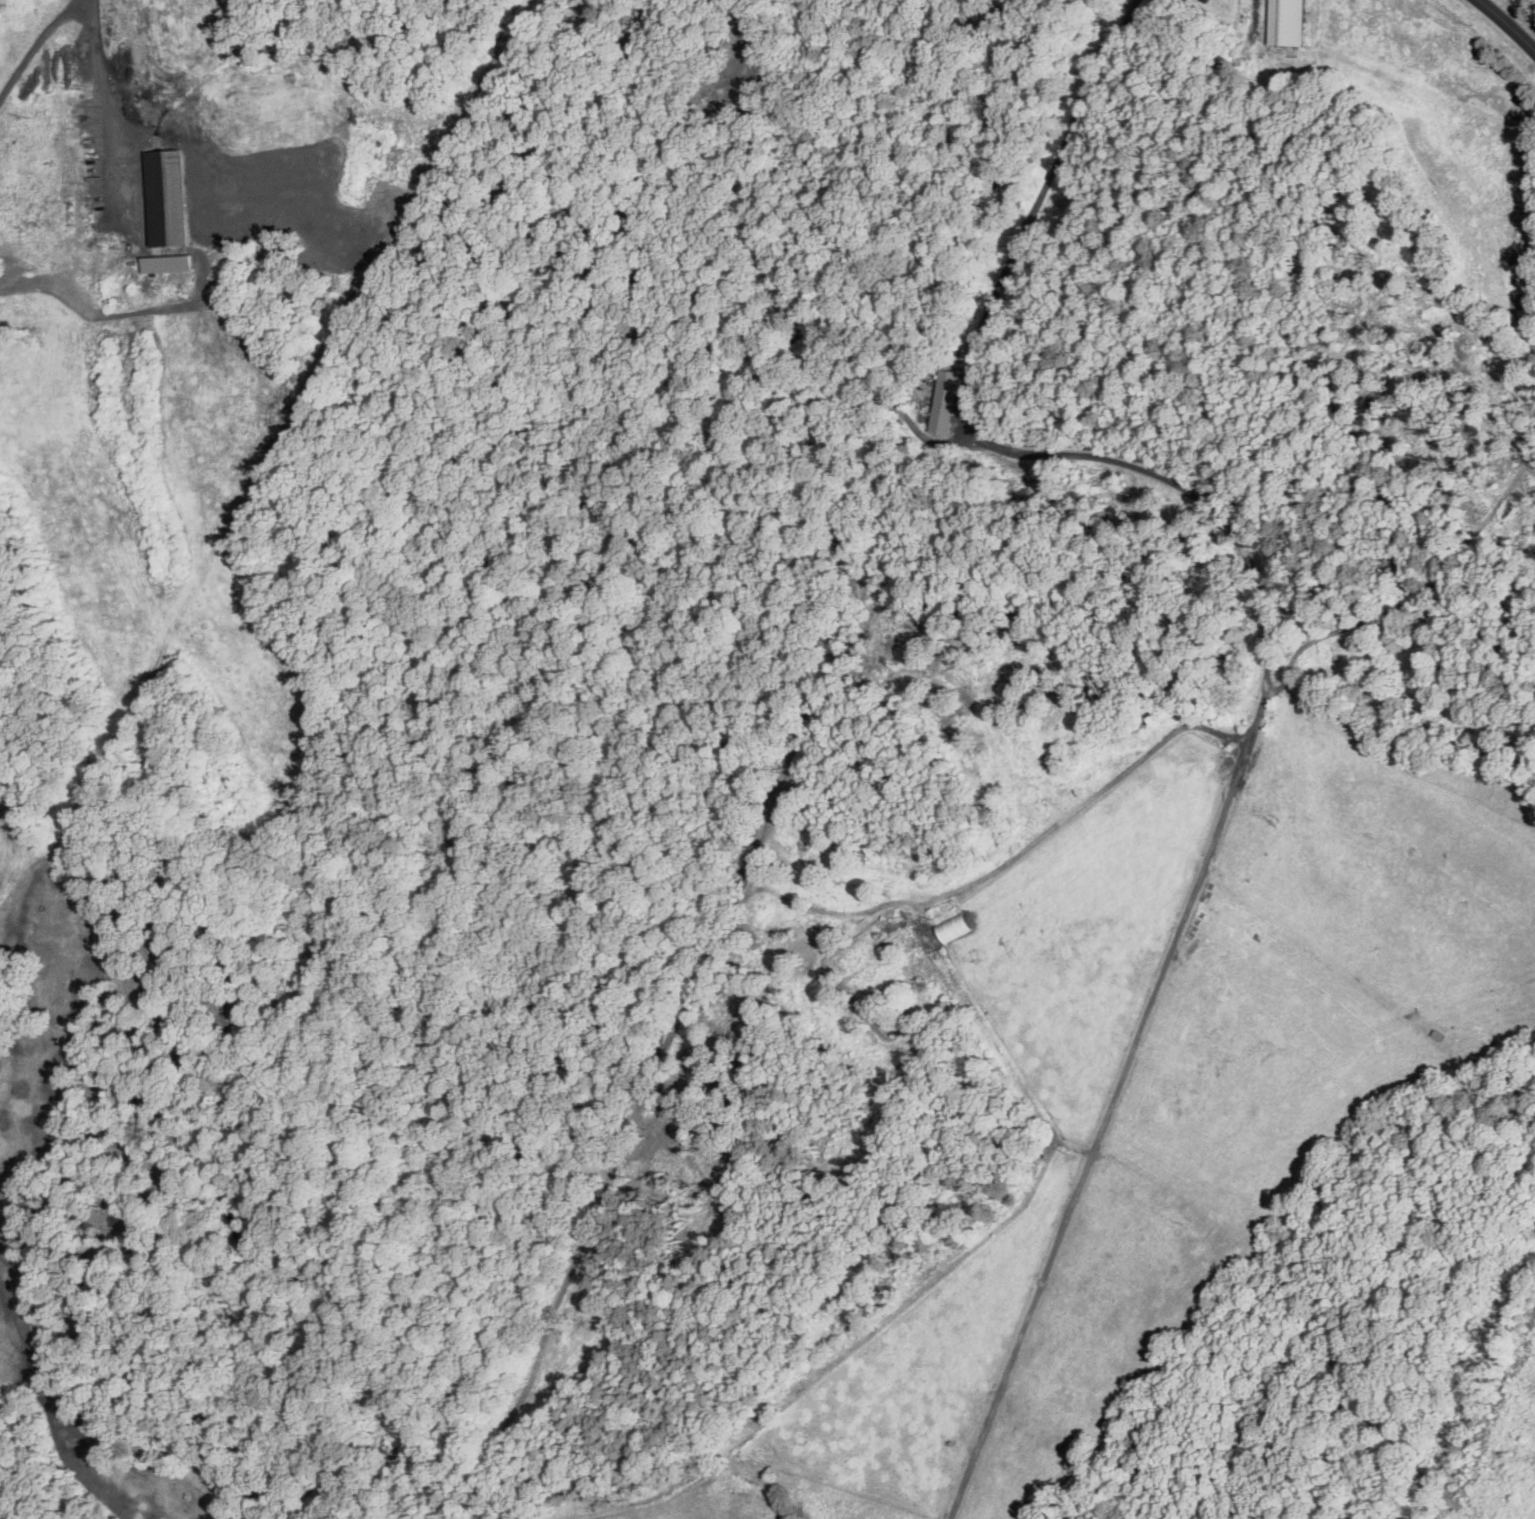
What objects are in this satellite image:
road: (1256, 19)
building: (1284, 23)
road: (1507, 24)
road: (37, 44)
road: (102, 79)
building: (165, 196)
building: (166, 262)
building: (946, 401)
crop: (1170, 1063)
crop: (1474, 1371)
crop: (473, 1518)

